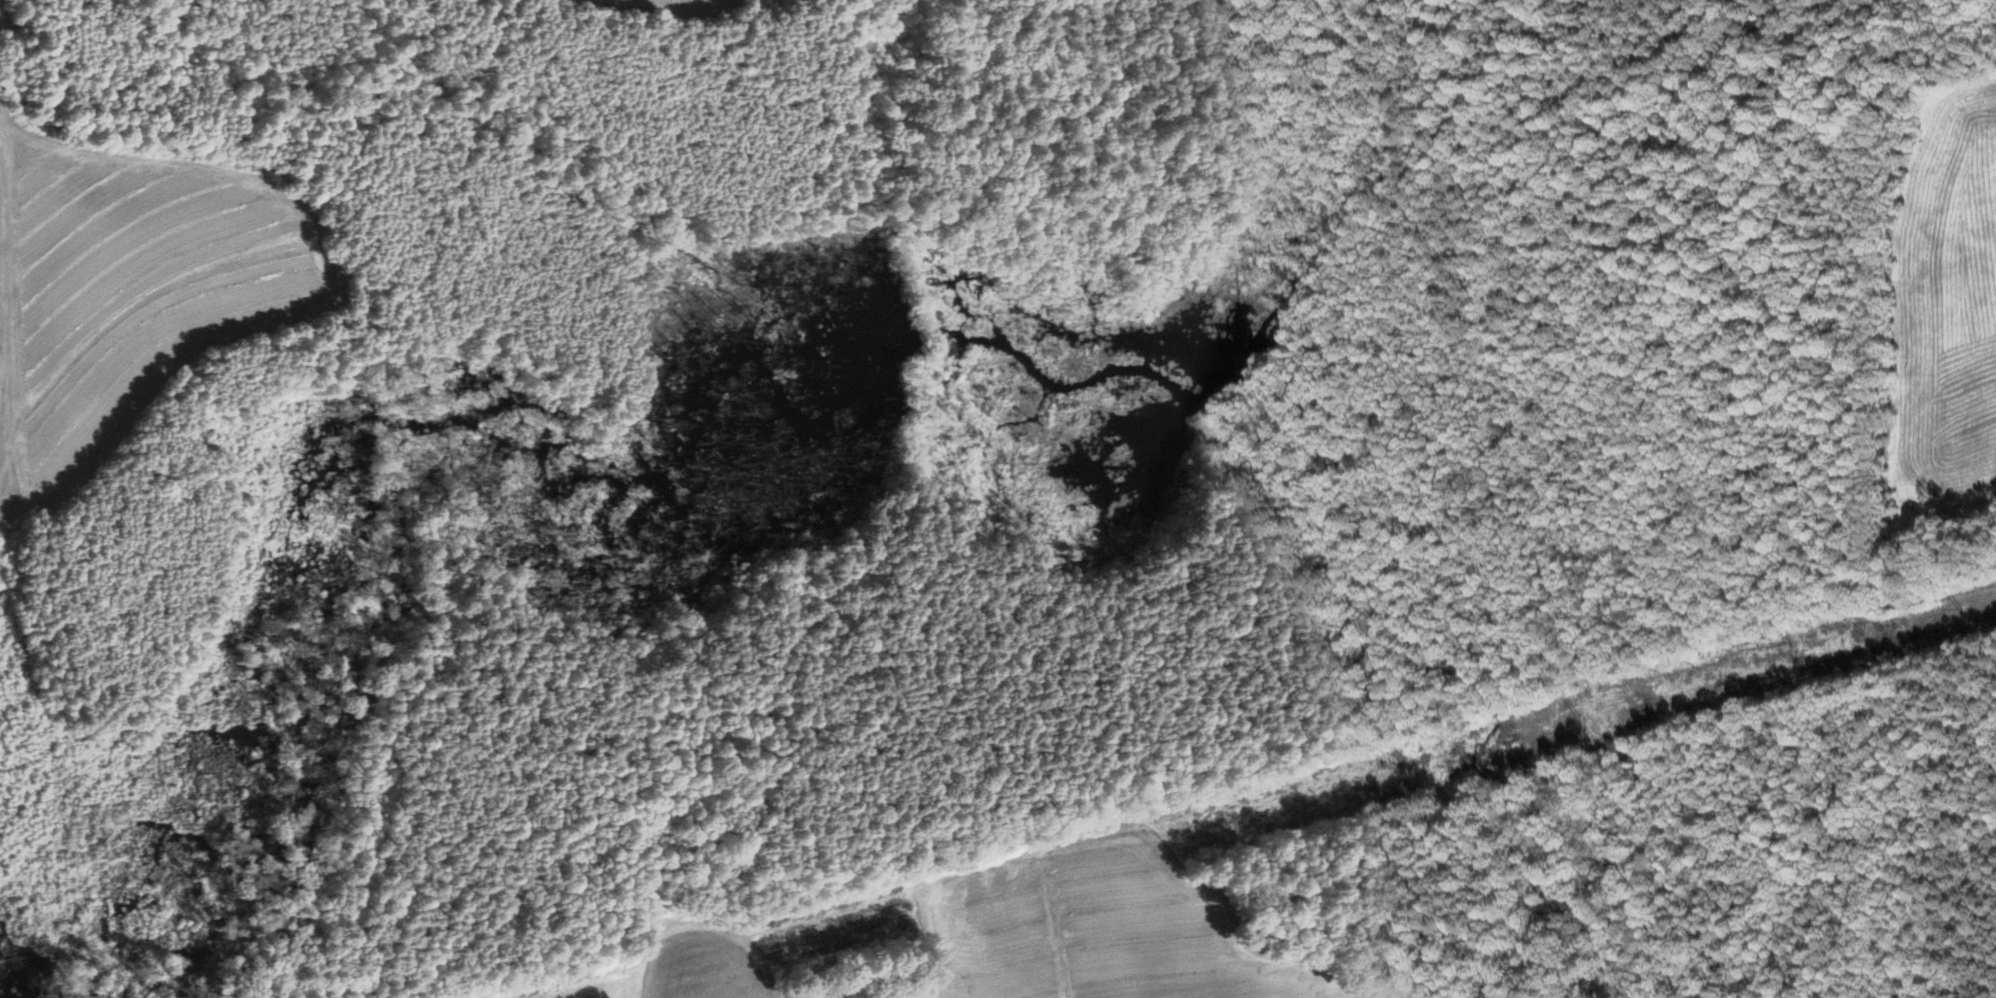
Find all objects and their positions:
road: (653, 12)
power tower: (1965, 613)
power tower: (1580, 720)
power tower: (1172, 834)
power tower: (790, 942)

